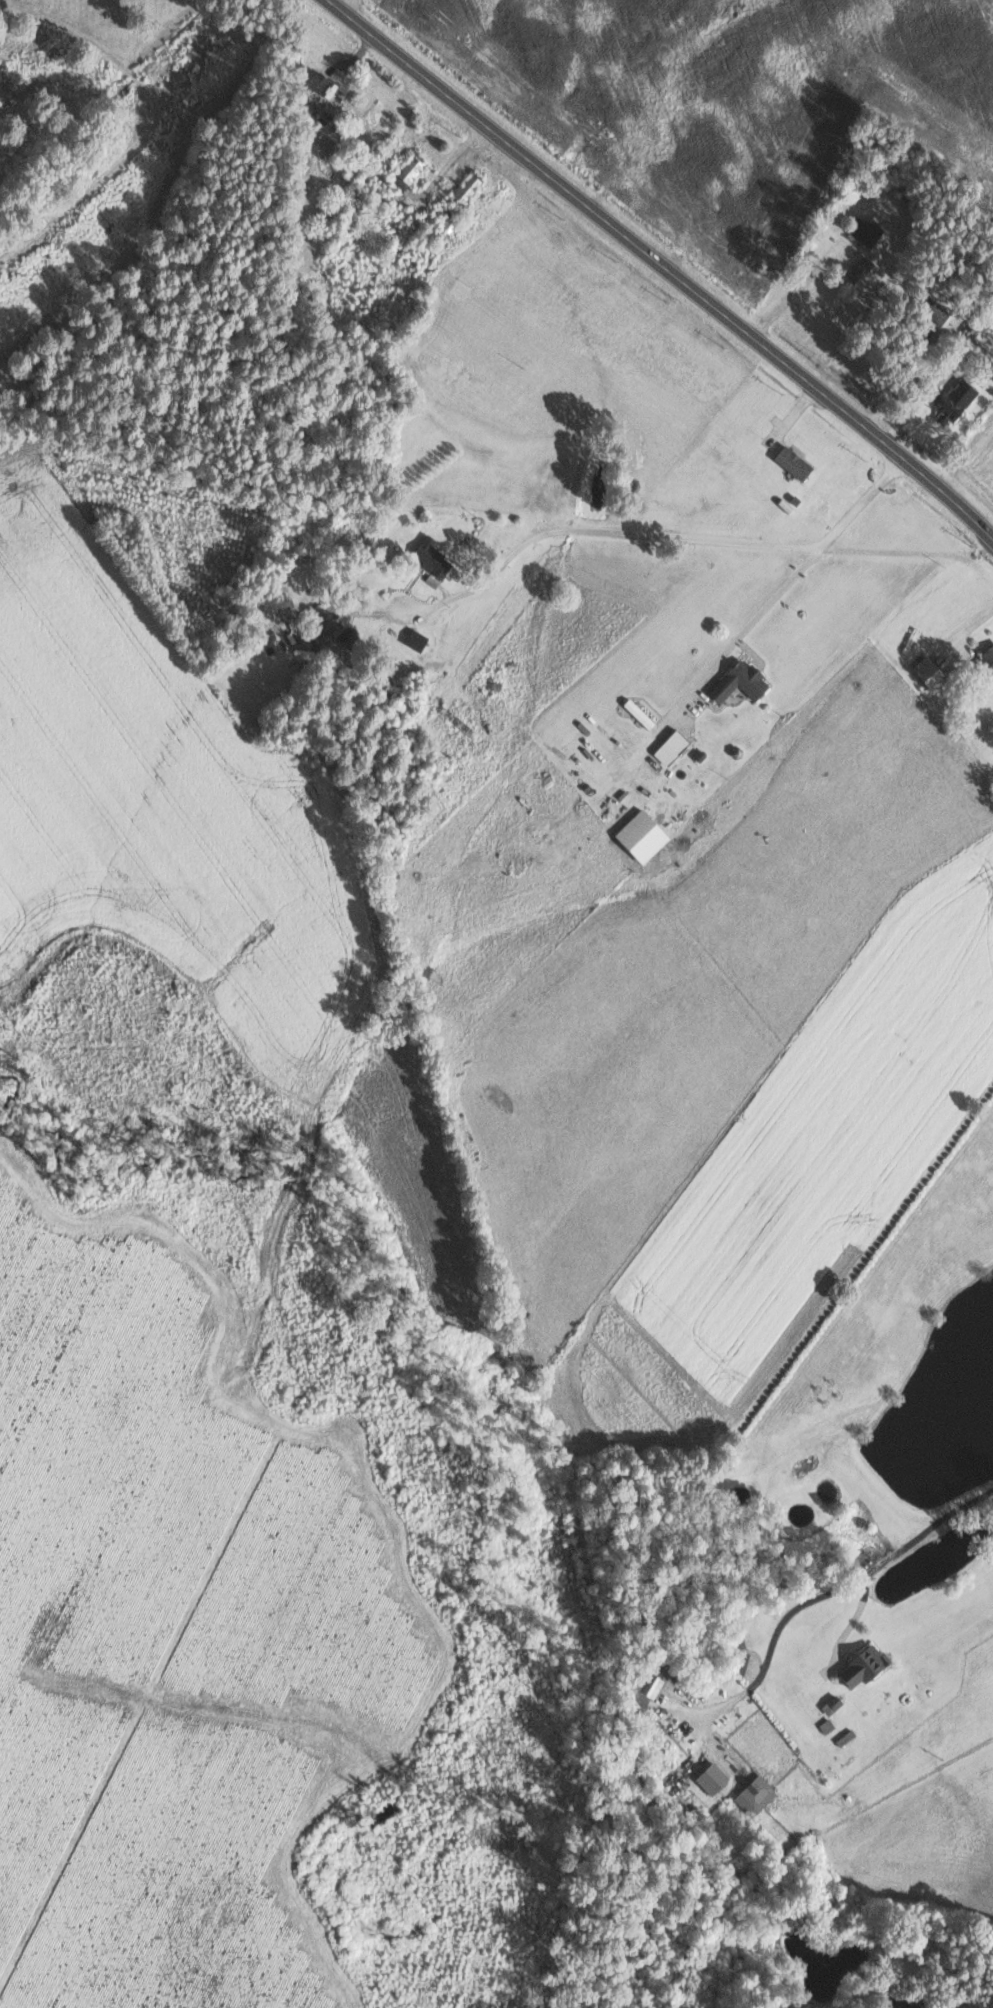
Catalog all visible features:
road: (339, 4)
park: (105, 135)
building: (406, 173)
building: (467, 187)
building: (448, 224)
building: (867, 230)
road: (659, 267)
building: (955, 400)
building: (794, 462)
road: (547, 531)
road: (780, 547)
building: (432, 557)
road: (783, 588)
road: (471, 589)
building: (323, 622)
building: (416, 639)
building: (988, 656)
building: (928, 670)
building: (741, 681)
building: (672, 747)
building: (642, 835)
road: (834, 1590)
building: (864, 1667)
building: (646, 1692)
building: (832, 1705)
building: (712, 1779)
building: (756, 1796)

